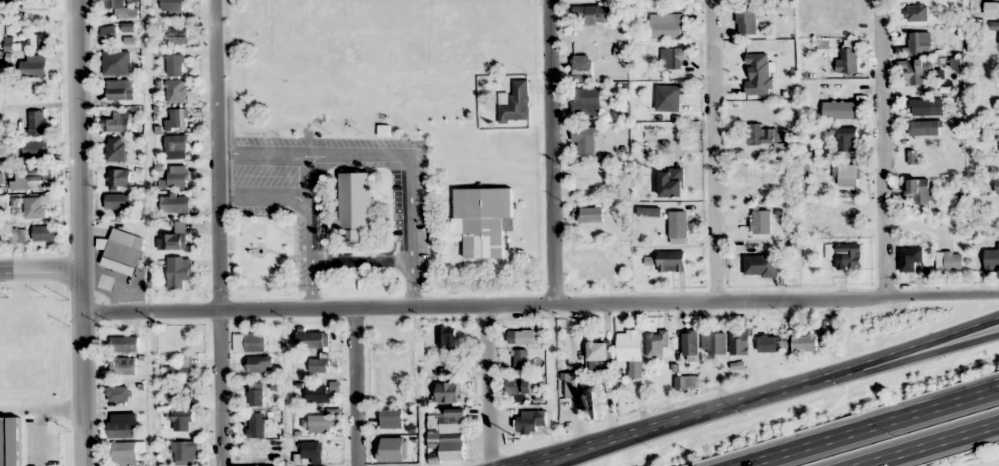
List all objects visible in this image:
building: (13, 0)
building: (172, 5)
building: (985, 7)
building: (121, 8)
building: (917, 13)
building: (592, 14)
building: (746, 21)
building: (995, 25)
building: (667, 26)
building: (108, 35)
building: (37, 41)
building: (919, 43)
building: (672, 58)
building: (846, 60)
building: (581, 61)
building: (116, 63)
building: (175, 65)
building: (33, 66)
building: (915, 72)
building: (119, 93)
building: (668, 98)
building: (586, 102)
building: (515, 103)
building: (921, 108)
building: (839, 110)
building: (177, 120)
building: (37, 122)
building: (116, 122)
building: (925, 128)
building: (761, 135)
building: (847, 139)
building: (584, 140)
building: (176, 146)
road: (883, 148)
building: (115, 149)
road: (714, 151)
road: (552, 152)
building: (35, 153)
building: (37, 175)
building: (847, 175)
building: (177, 176)
building: (119, 179)
building: (671, 183)
building: (997, 186)
building: (922, 191)
building: (118, 202)
building: (356, 203)
building: (176, 204)
building: (18, 205)
building: (41, 205)
building: (649, 212)
building: (591, 215)
building: (484, 220)
building: (761, 222)
building: (678, 227)
road: (78, 232)
road: (219, 232)
building: (43, 233)
building: (19, 234)
building: (175, 241)
building: (125, 247)
building: (846, 255)
building: (992, 259)
building: (907, 260)
building: (671, 262)
building: (949, 262)
building: (760, 266)
road: (39, 269)
building: (179, 273)
building: (105, 282)
road: (539, 305)
building: (22, 330)
building: (527, 336)
building: (447, 338)
building: (312, 339)
building: (249, 342)
building: (690, 343)
building: (714, 343)
building: (740, 343)
building: (768, 343)
building: (804, 343)
building: (123, 344)
building: (656, 344)
building: (629, 347)
building: (598, 355)
road: (907, 355)
building: (521, 359)
building: (122, 365)
building: (260, 365)
building: (318, 365)
building: (181, 369)
building: (21, 374)
building: (574, 385)
road: (489, 386)
building: (521, 386)
road: (360, 388)
building: (447, 392)
building: (255, 394)
building: (319, 394)
building: (118, 395)
road: (749, 396)
building: (181, 416)
building: (391, 418)
building: (452, 421)
building: (530, 422)
building: (319, 423)
building: (123, 425)
building: (256, 425)
road: (868, 426)
road: (929, 444)
building: (387, 448)
building: (452, 449)
road: (593, 449)
building: (21, 450)
building: (311, 450)
building: (184, 451)
building: (124, 453)

